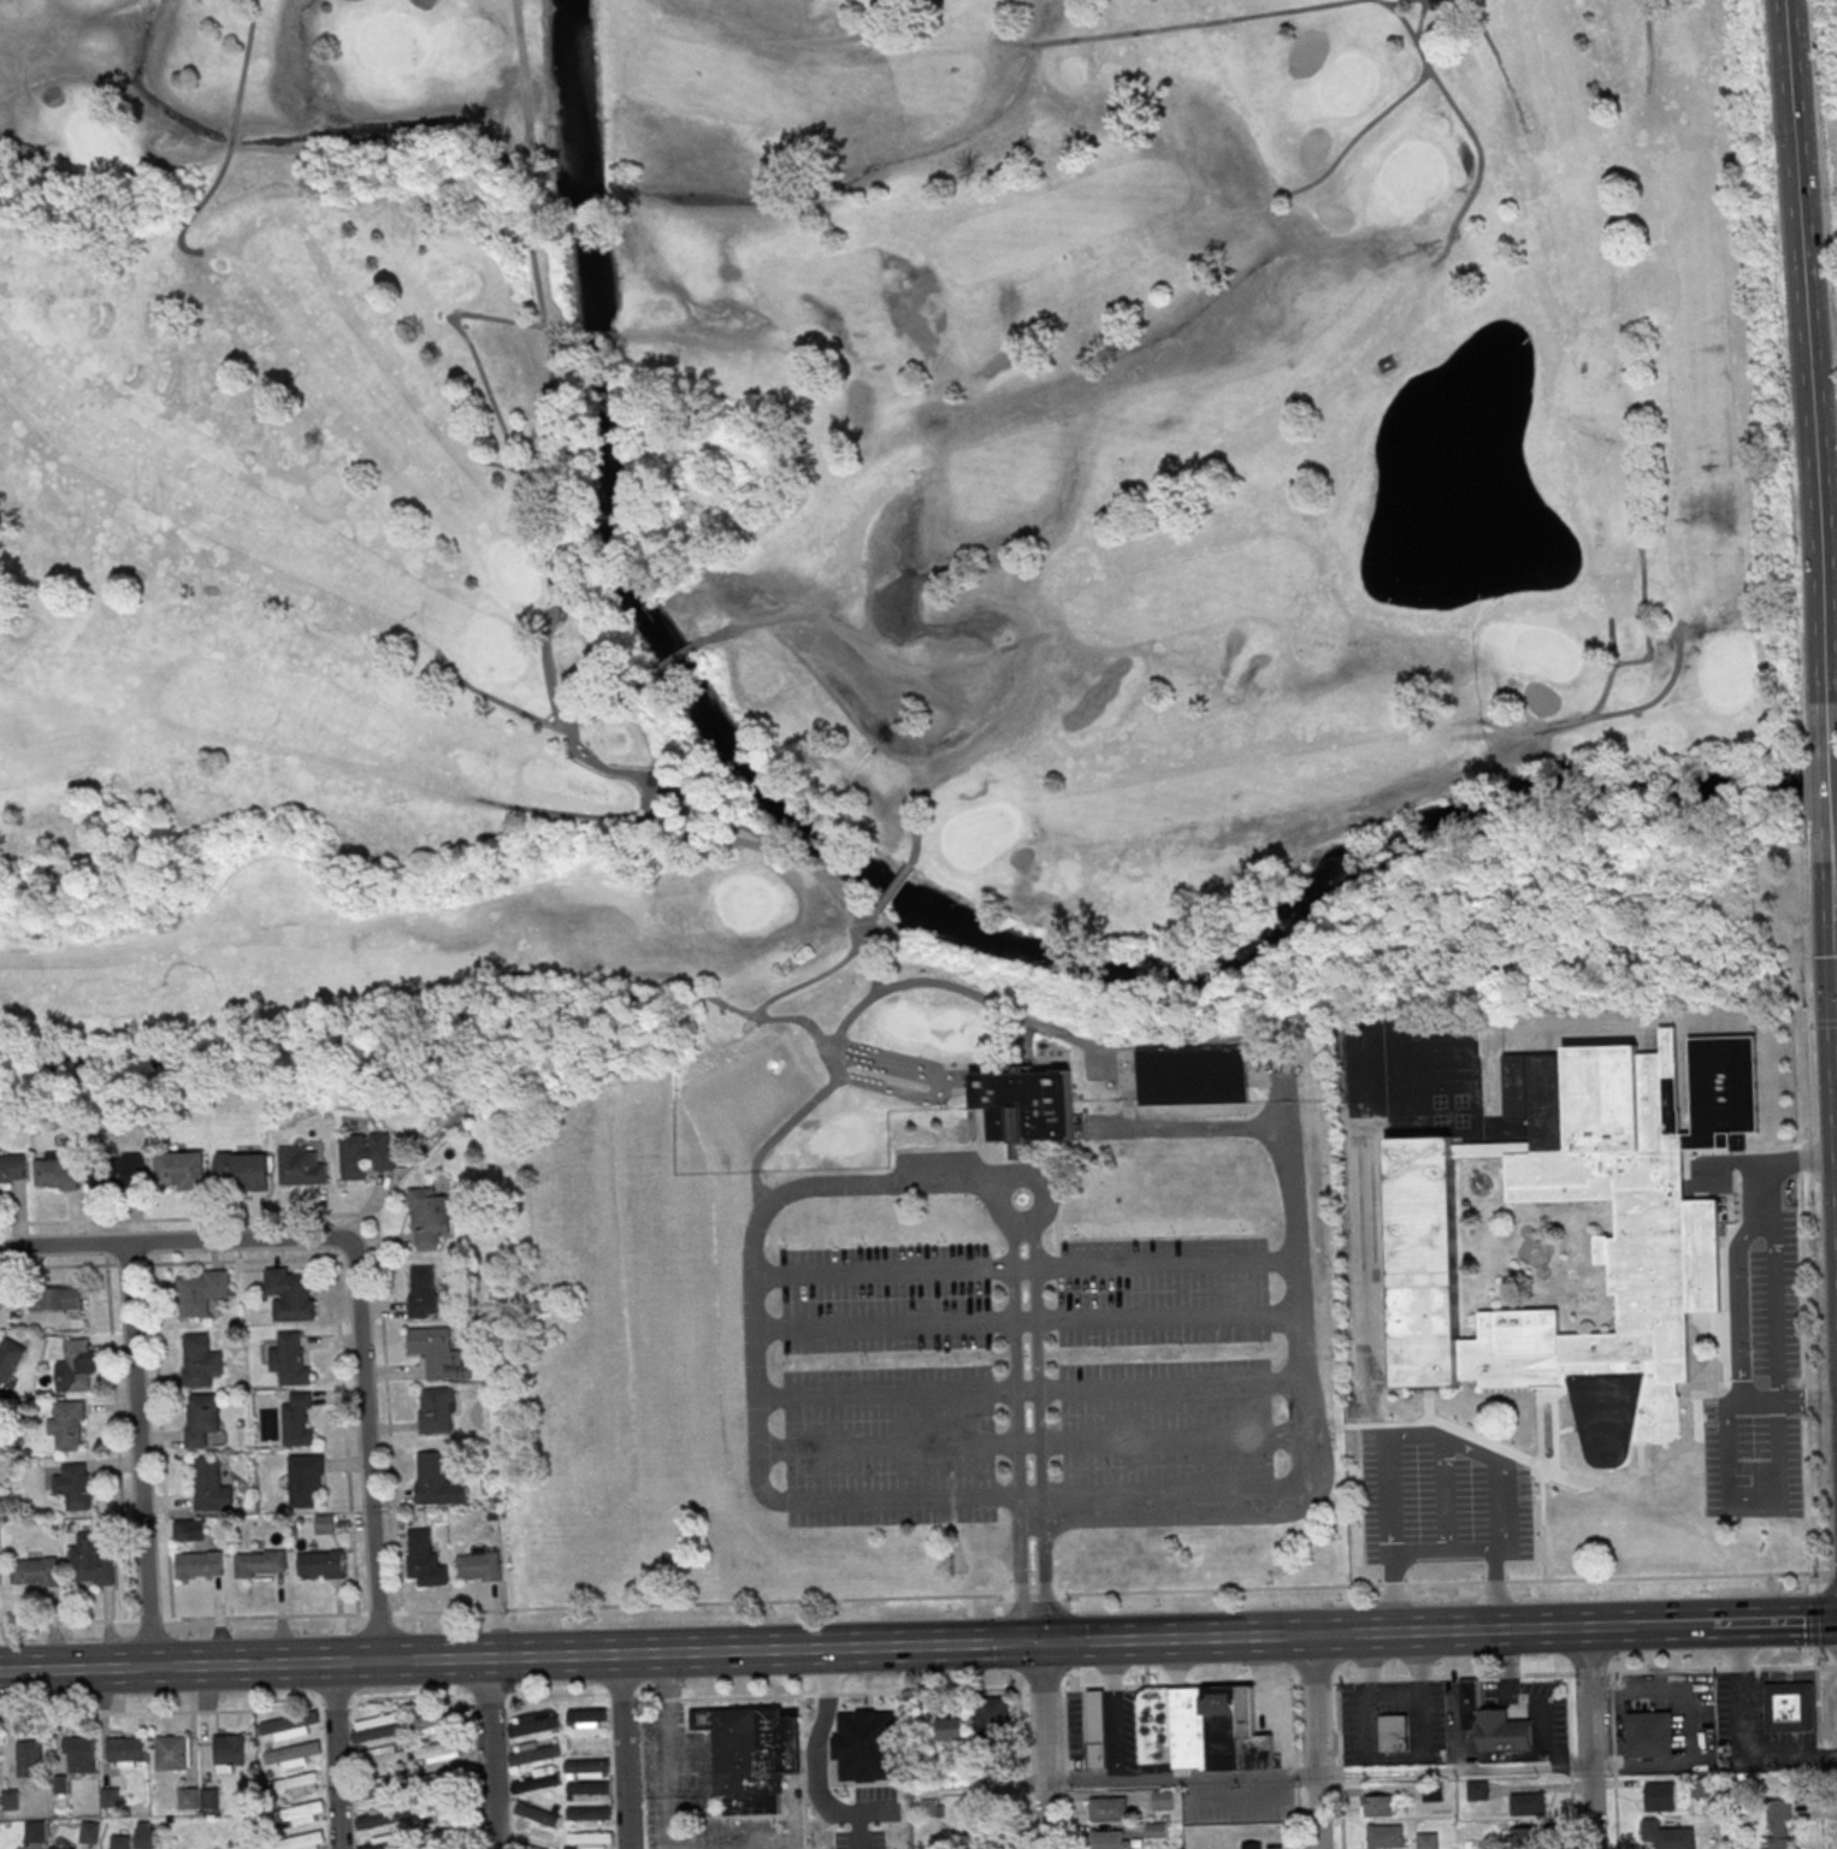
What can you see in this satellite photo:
park: (1835, 19)
road: (1824, 193)
road: (1808, 372)
river: (609, 513)
park: (878, 686)
road: (1832, 804)
river: (1363, 863)
road: (1833, 892)
road: (1835, 964)
traffic signals: (1836, 1006)
building: (1195, 1076)
building: (1030, 1106)
building: (366, 1154)
building: (12, 1166)
building: (303, 1169)
building: (119, 1170)
building: (179, 1170)
building: (242, 1171)
building: (55, 1174)
road: (838, 1186)
building: (429, 1218)
building: (1654, 1250)
road: (1024, 1266)
road: (361, 1274)
building: (200, 1292)
building: (423, 1292)
building: (291, 1294)
building: (55, 1299)
road: (1027, 1321)
building: (438, 1353)
road: (1300, 1353)
parking lot: (1022, 1355)
building: (8, 1359)
building: (290, 1360)
building: (200, 1361)
building: (75, 1364)
road: (1029, 1388)
building: (436, 1411)
building: (202, 1419)
building: (297, 1419)
building: (66, 1424)
road: (1434, 1440)
road: (1033, 1442)
road: (137, 1454)
building: (305, 1479)
building: (437, 1479)
building: (72, 1485)
building: (209, 1487)
building: (325, 1524)
building: (189, 1530)
road: (1443, 1550)
building: (423, 1560)
building: (89, 1561)
building: (260, 1564)
building: (320, 1564)
building: (199, 1565)
building: (479, 1565)
building: (34, 1572)
road: (917, 1597)
road: (1774, 1621)
road: (1672, 1625)
road: (1424, 1631)
road: (1129, 1642)
traffic signals: (1040, 1646)
road: (967, 1647)
road: (447, 1659)
road: (1112, 1665)
road: (1475, 1676)
road: (1393, 1689)
road: (1739, 1693)
road: (555, 1695)
building: (1789, 1707)
building: (587, 1718)
building: (994, 1718)
building: (532, 1723)
building: (432, 1724)
building: (1492, 1724)
building: (289, 1726)
building: (378, 1727)
building: (1095, 1729)
building: (1200, 1729)
building: (952, 1730)
road: (1114, 1735)
building: (1649, 1735)
road: (1589, 1738)
building: (1398, 1739)
road: (1316, 1741)
building: (587, 1743)
road: (1045, 1747)
road: (793, 1749)
building: (125, 1751)
building: (172, 1751)
building: (229, 1751)
building: (441, 1751)
road: (620, 1751)
road: (667, 1751)
road: (489, 1753)
building: (530, 1753)
building: (78, 1754)
building: (293, 1754)
road: (339, 1755)
building: (749, 1755)
building: (383, 1758)
building: (29, 1759)
road: (1613, 1760)
road: (1570, 1761)
road: (817, 1765)
road: (1340, 1765)
building: (586, 1767)
road: (1022, 1768)
road: (1065, 1768)
road: (1441, 1772)
building: (537, 1779)
building: (295, 1784)
building: (586, 1788)
building: (377, 1789)
building: (1477, 1790)
building: (1433, 1792)
building: (110, 1797)
road: (1238, 1797)
building: (1660, 1797)
building: (188, 1798)
building: (209, 1798)
building: (10, 1800)
building: (1163, 1800)
building: (1528, 1804)
building: (1377, 1806)
building: (932, 1808)
building: (1109, 1808)
building: (538, 1810)
road: (879, 1810)
building: (299, 1812)
building: (447, 1812)
building: (587, 1814)
building: (374, 1819)
building: (1778, 1824)
building: (1156, 1830)
building: (35, 1831)
building: (89, 1832)
building: (450, 1833)
building: (144, 1835)
building: (1666, 1836)
building: (1384, 1837)
building: (1526, 1838)
building: (1110, 1839)
building: (587, 1841)
building: (976, 1841)
building: (1427, 1841)
building: (120, 1842)
building: (302, 1842)
building: (378, 1843)
building: (1251, 1845)
building: (63, 1848)
building: (521, 1848)
road: (781, 1848)

